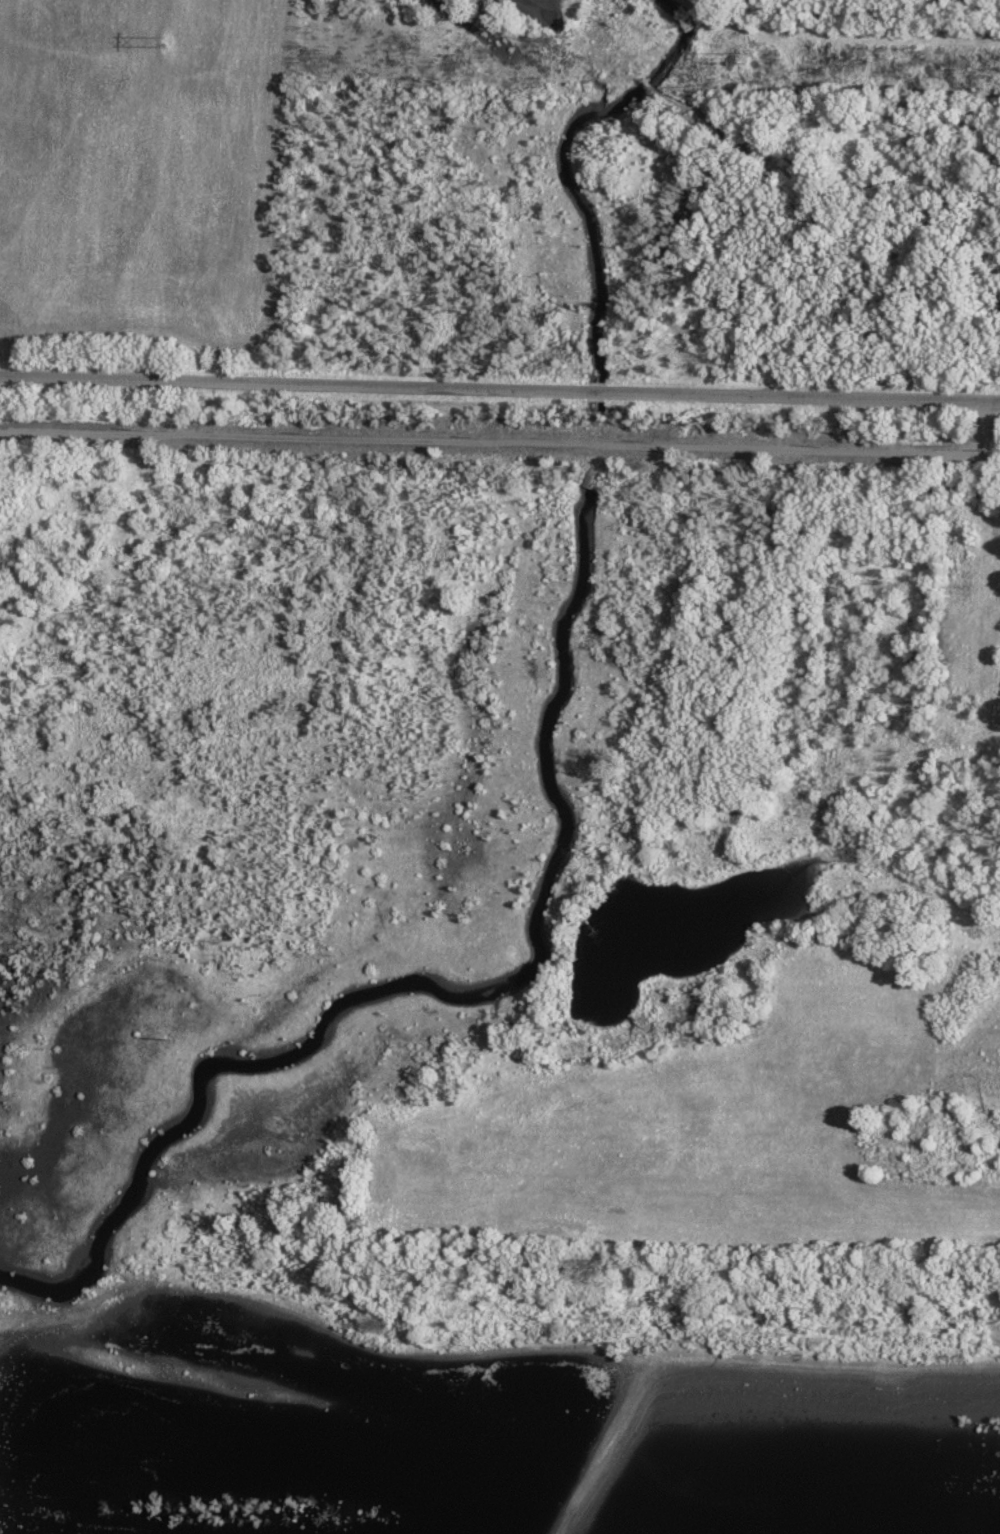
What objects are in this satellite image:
power tower: (163, 43)
power tower: (757, 62)
crop: (144, 182)
road: (500, 389)
crop: (702, 1136)

